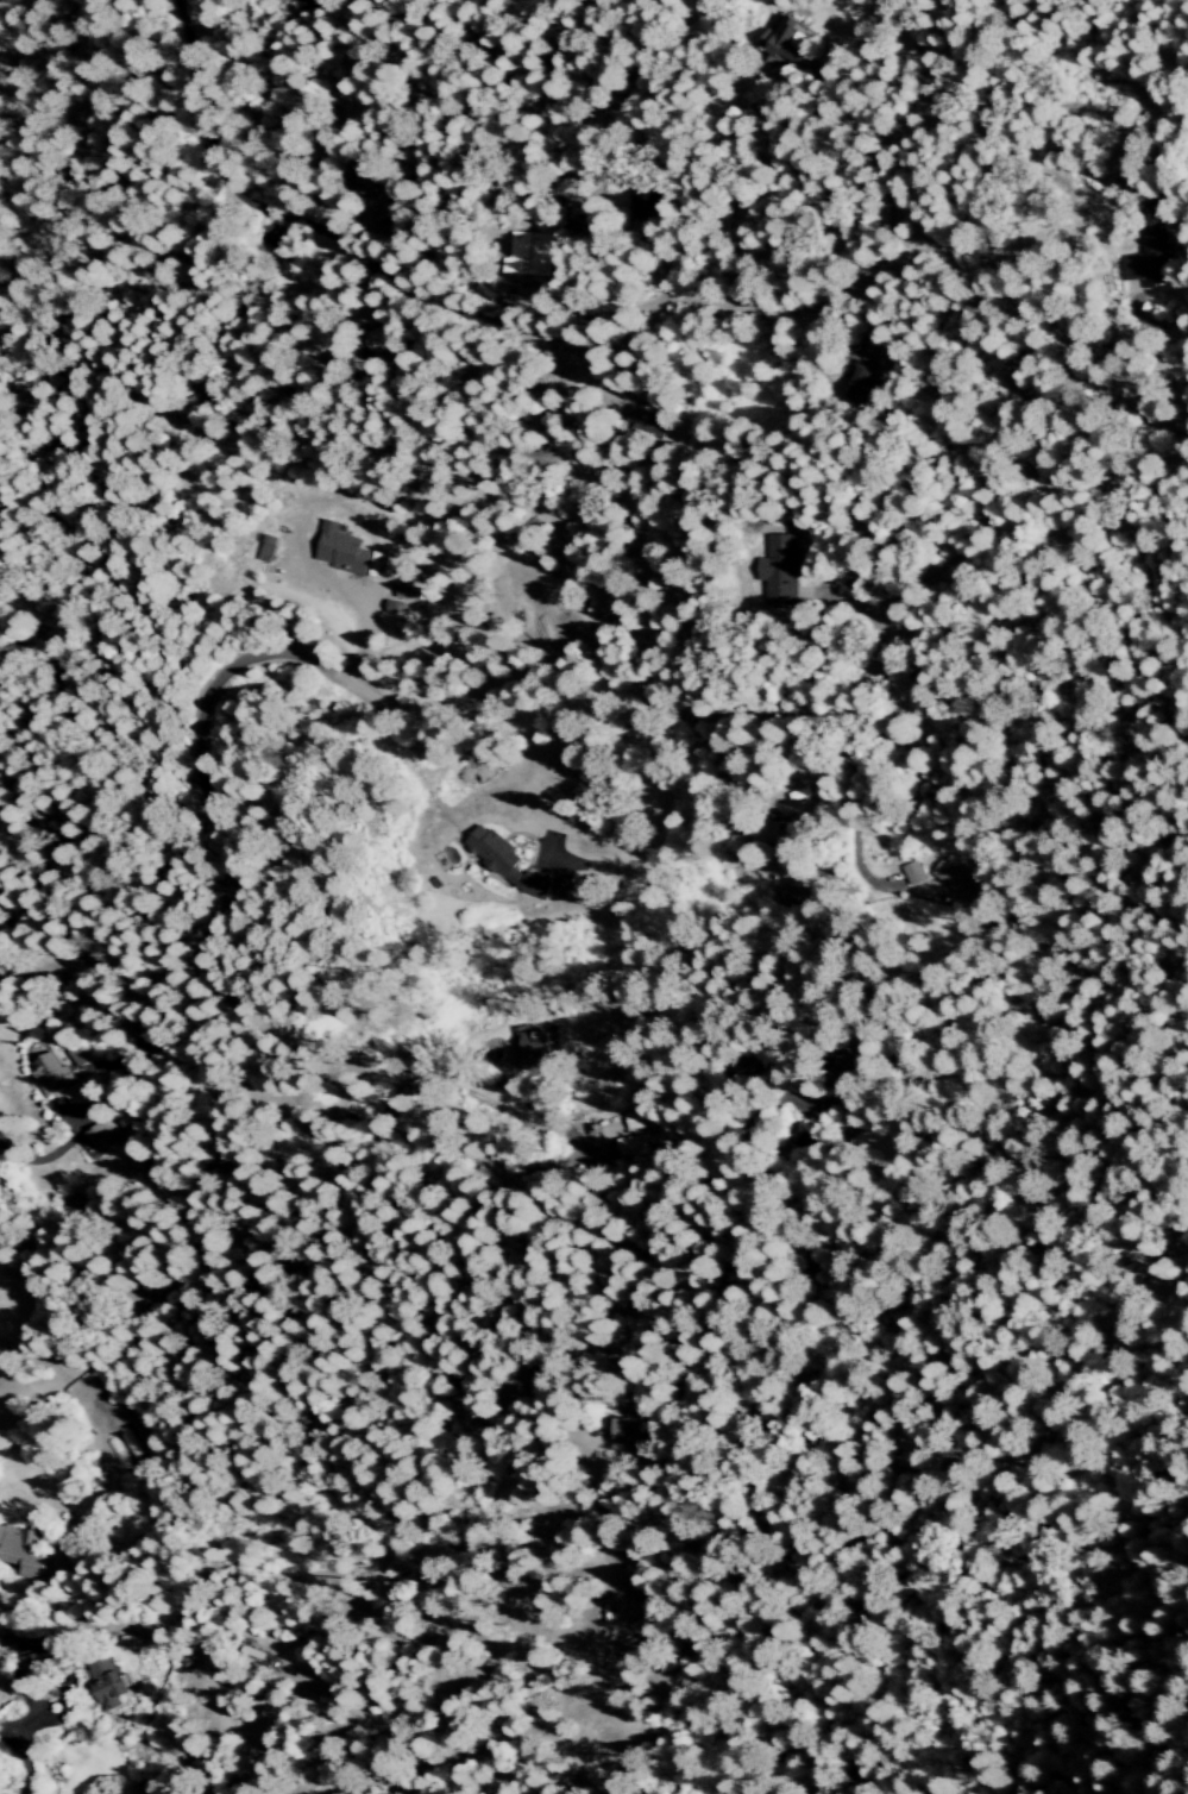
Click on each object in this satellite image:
building: (792, 43)
road: (882, 163)
road: (220, 172)
building: (381, 194)
building: (654, 202)
road: (351, 227)
building: (530, 253)
building: (1150, 261)
road: (666, 266)
road: (360, 278)
building: (478, 290)
road: (1023, 300)
road: (435, 305)
road: (515, 306)
road: (870, 315)
building: (381, 333)
road: (530, 340)
road: (590, 371)
building: (866, 387)
building: (650, 418)
building: (269, 548)
building: (346, 551)
building: (782, 571)
building: (409, 592)
road: (365, 634)
road: (870, 650)
road: (497, 686)
road: (772, 715)
road: (653, 821)
building: (513, 865)
building: (914, 873)
building: (958, 880)
road: (899, 889)
road: (846, 893)
building: (790, 897)
building: (534, 1047)
road: (159, 1053)
building: (51, 1073)
building: (635, 1119)
road: (86, 1121)
building: (102, 1134)
road: (346, 1136)
road: (583, 1141)
building: (631, 1146)
building: (73, 1204)
road: (177, 1276)
road: (551, 1412)
building: (624, 1436)
road: (595, 1529)
building: (21, 1552)
building: (43, 1662)
road: (14, 1745)

